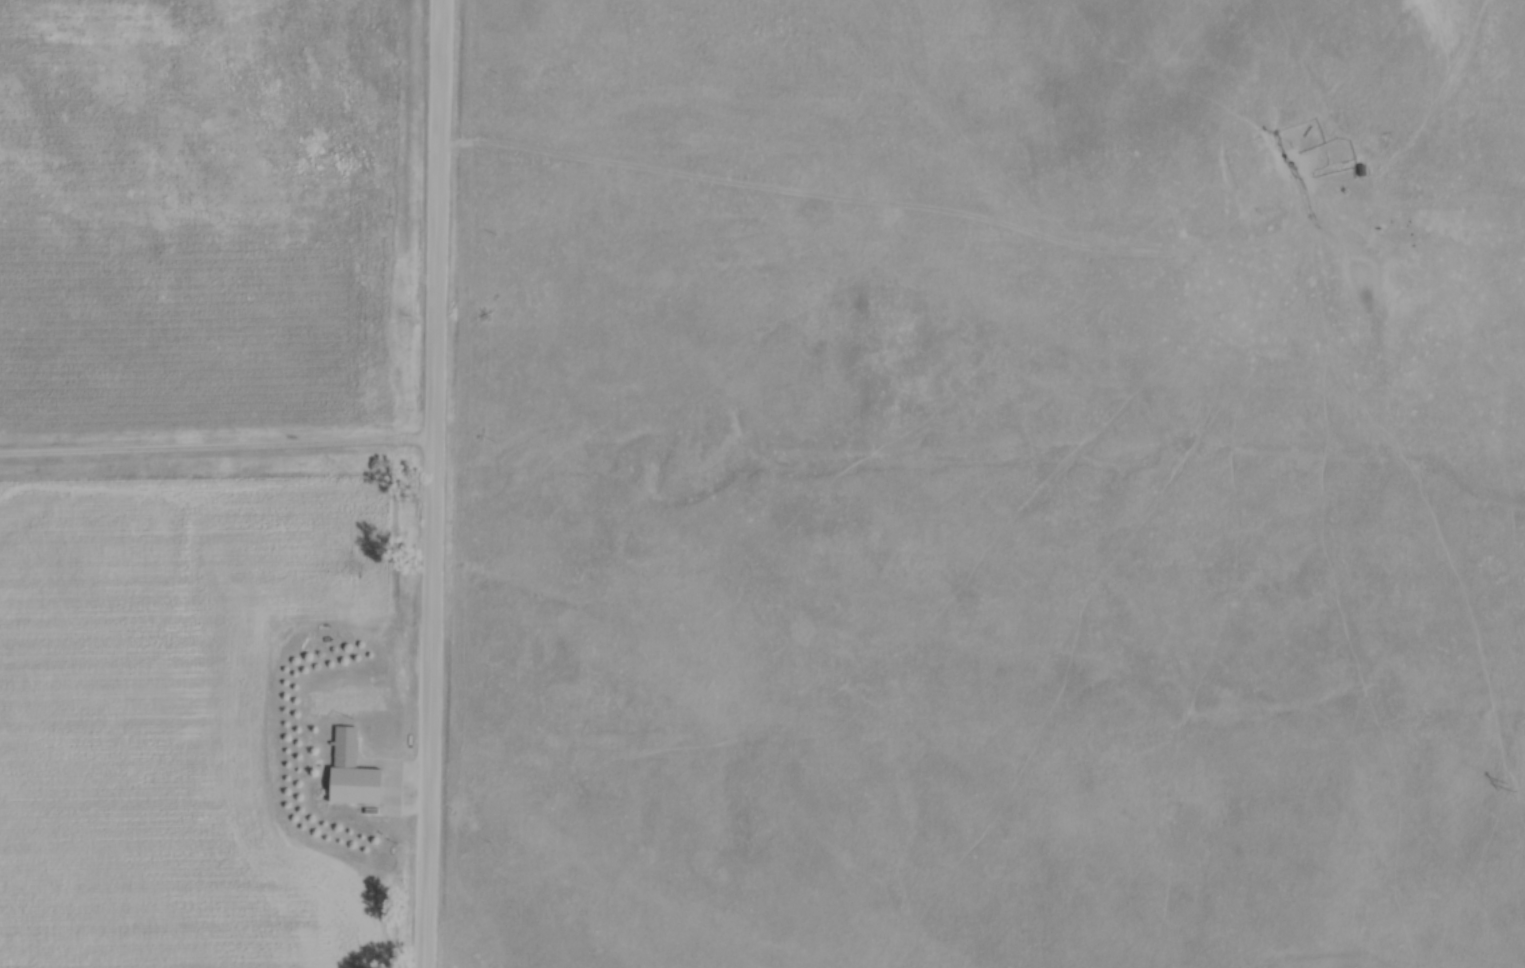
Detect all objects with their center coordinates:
road: (216, 449)
road: (433, 483)
building: (356, 774)
power tower: (1510, 790)

